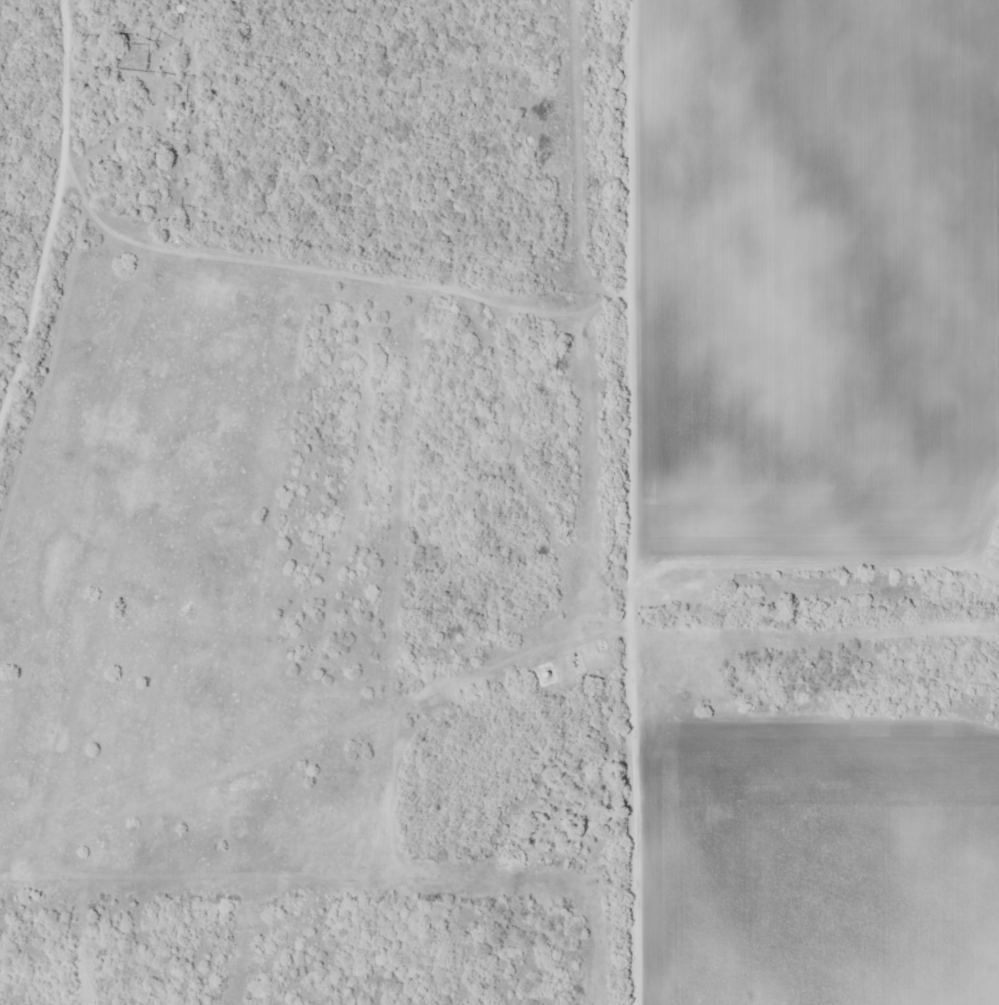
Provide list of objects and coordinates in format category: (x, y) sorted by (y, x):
road: (53, 207)

